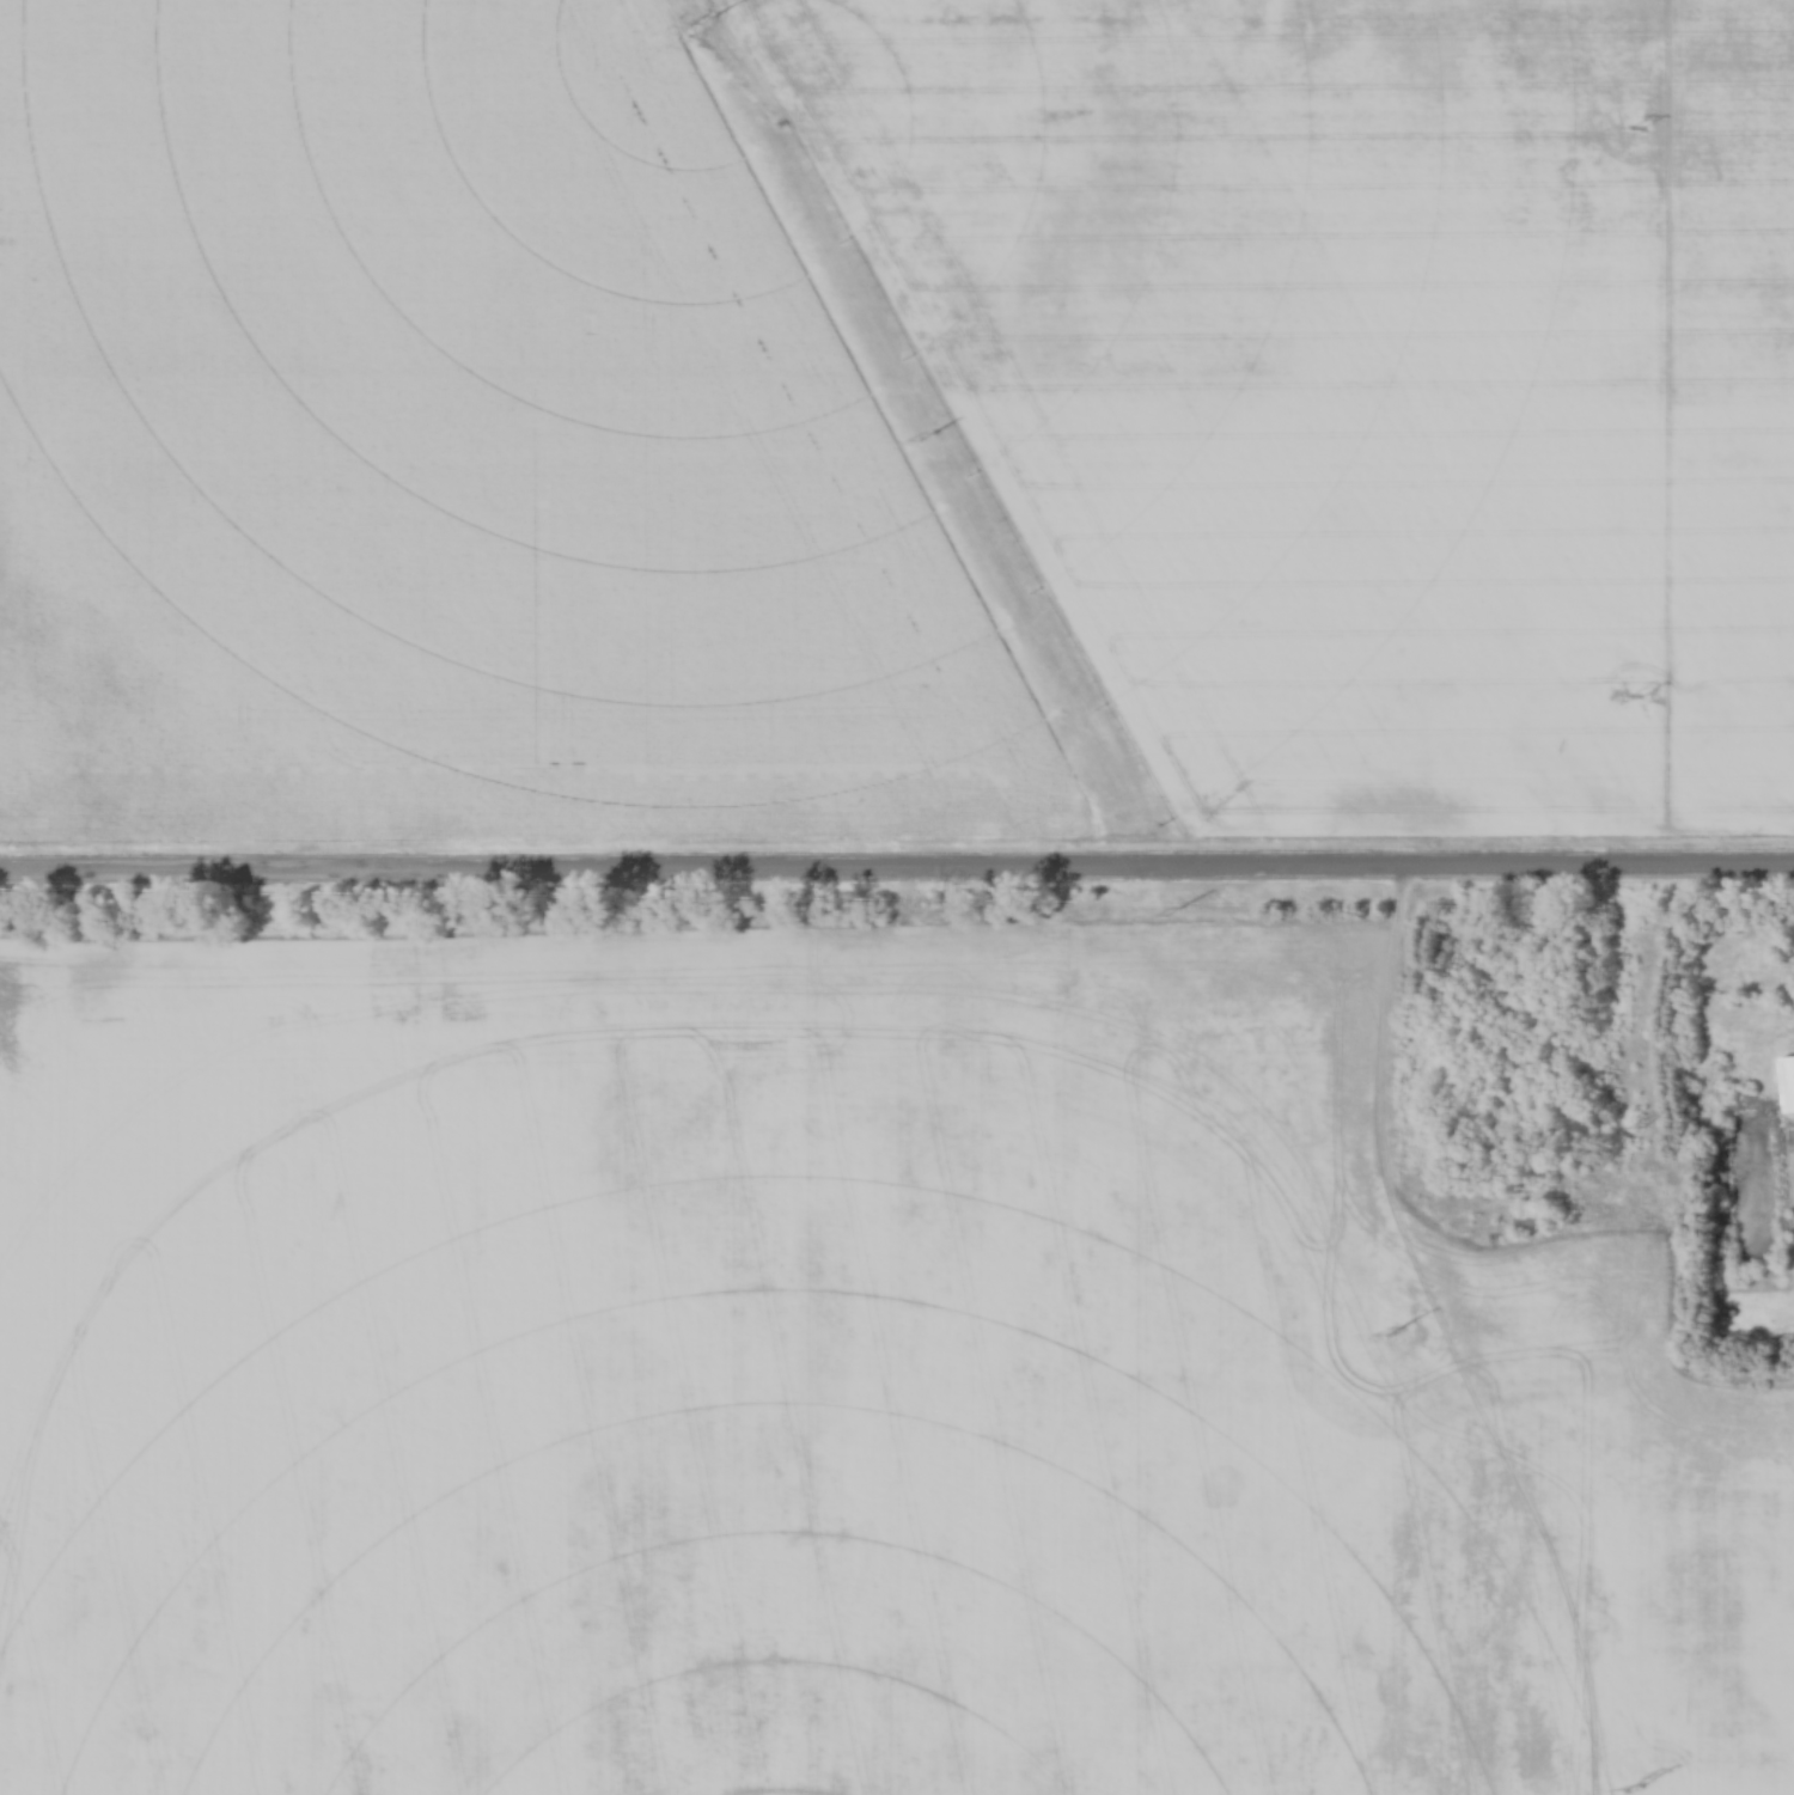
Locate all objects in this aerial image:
power tower: (707, 22)
power tower: (1634, 130)
power tower: (925, 438)
power tower: (1633, 698)
road: (897, 871)
power tower: (1176, 914)
building: (1788, 1085)
power tower: (1636, 1129)
building: (1530, 1222)
power tower: (1397, 1332)
power tower: (1633, 1788)

